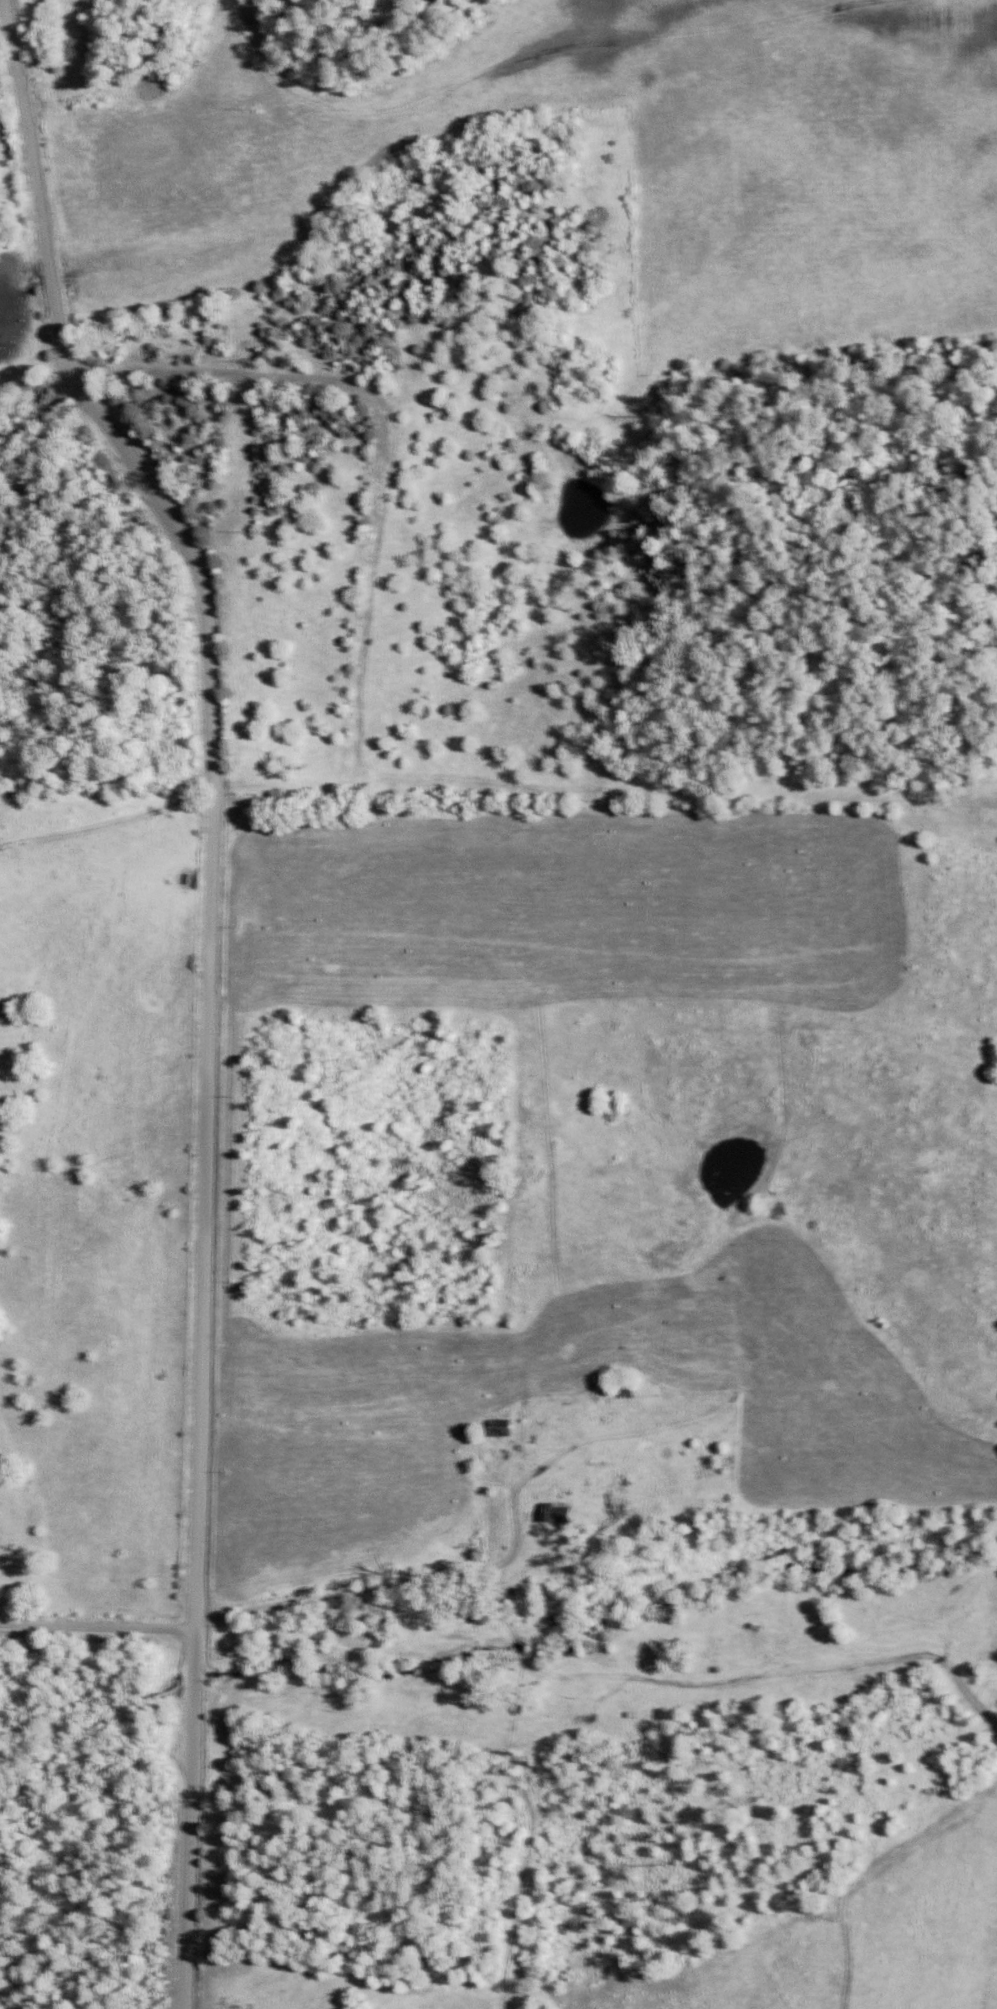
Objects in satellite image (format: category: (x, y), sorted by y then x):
road: (211, 793)
building: (500, 1443)
building: (565, 1521)
road: (376, 1588)
road: (97, 1626)
road: (188, 1819)

